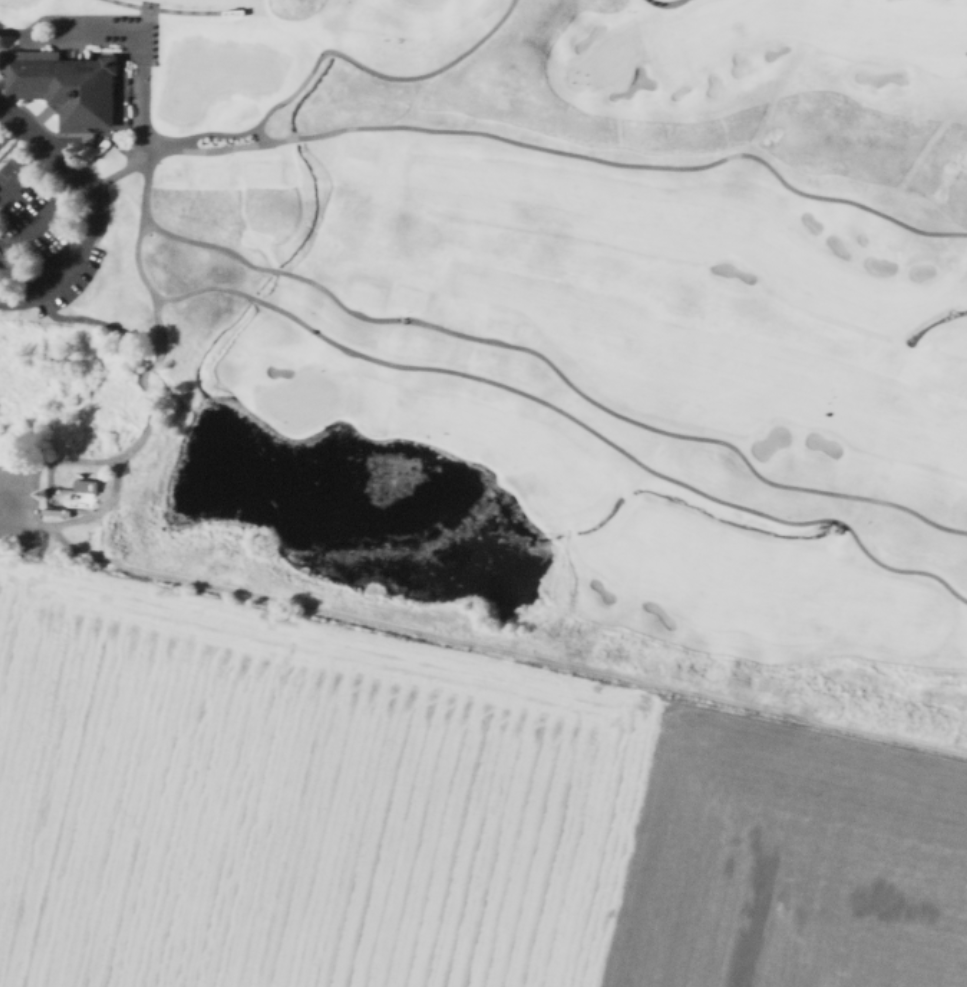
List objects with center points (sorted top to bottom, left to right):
road: (663, 2)
road: (51, 15)
road: (72, 32)
road: (327, 49)
building: (73, 85)
road: (0, 108)
road: (261, 132)
road: (95, 136)
road: (530, 143)
road: (23, 171)
road: (91, 209)
road: (37, 218)
road: (148, 285)
road: (91, 318)
park: (510, 329)
road: (557, 369)
road: (573, 418)
building: (90, 485)
parking lot: (19, 499)
road: (80, 518)
crop: (430, 813)

